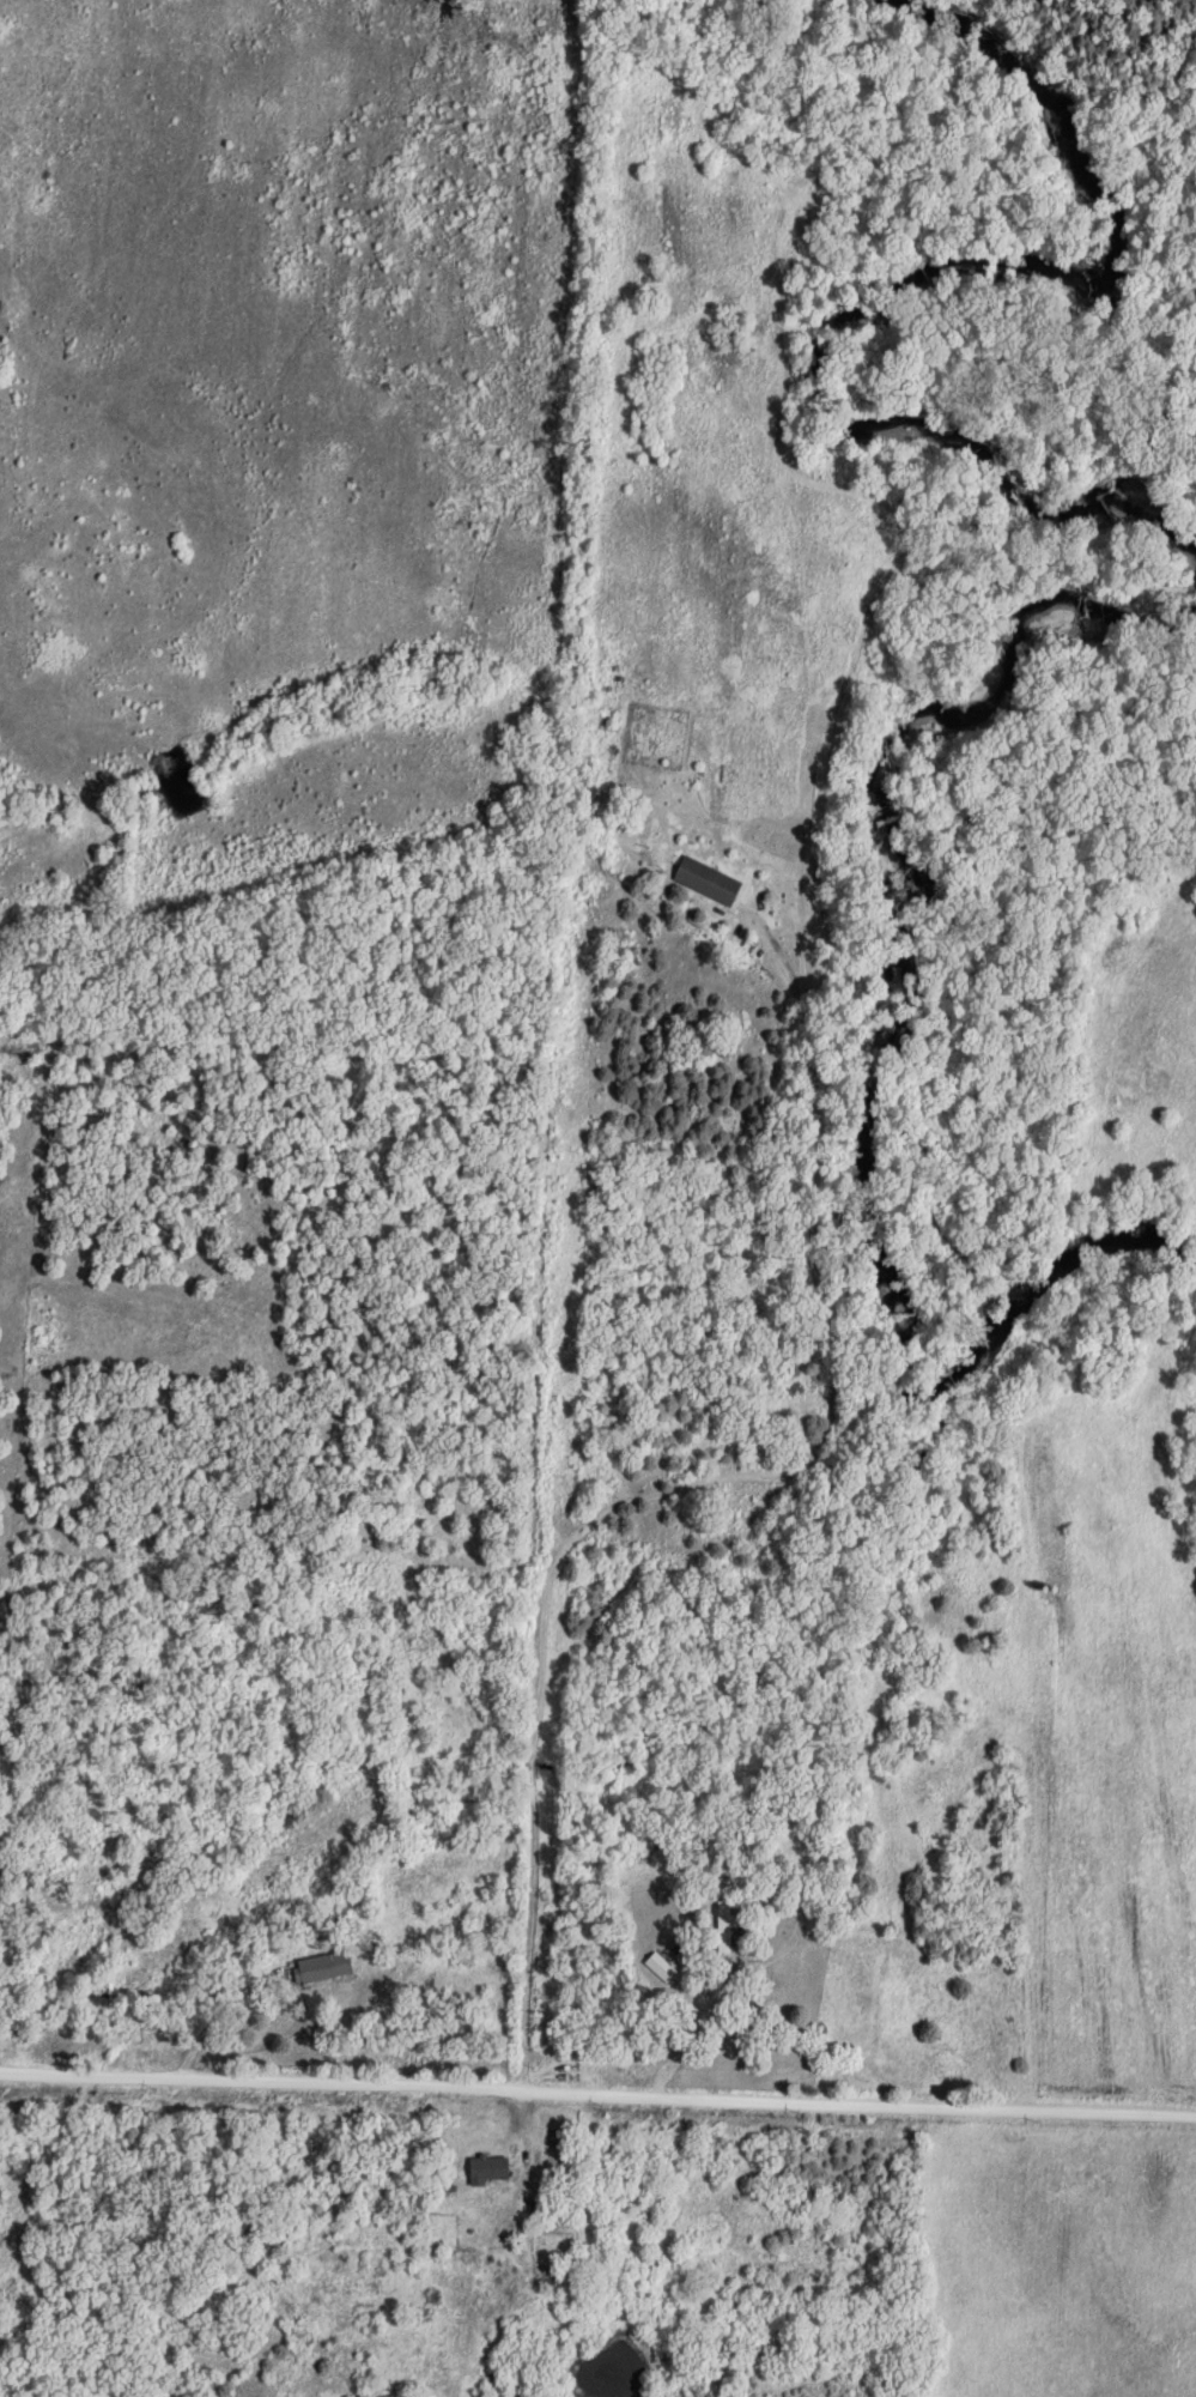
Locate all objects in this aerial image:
building: (708, 878)
building: (727, 1926)
building: (370, 1938)
building: (662, 1966)
building: (318, 1968)
road: (597, 2095)
building: (490, 2168)
building: (547, 2277)

